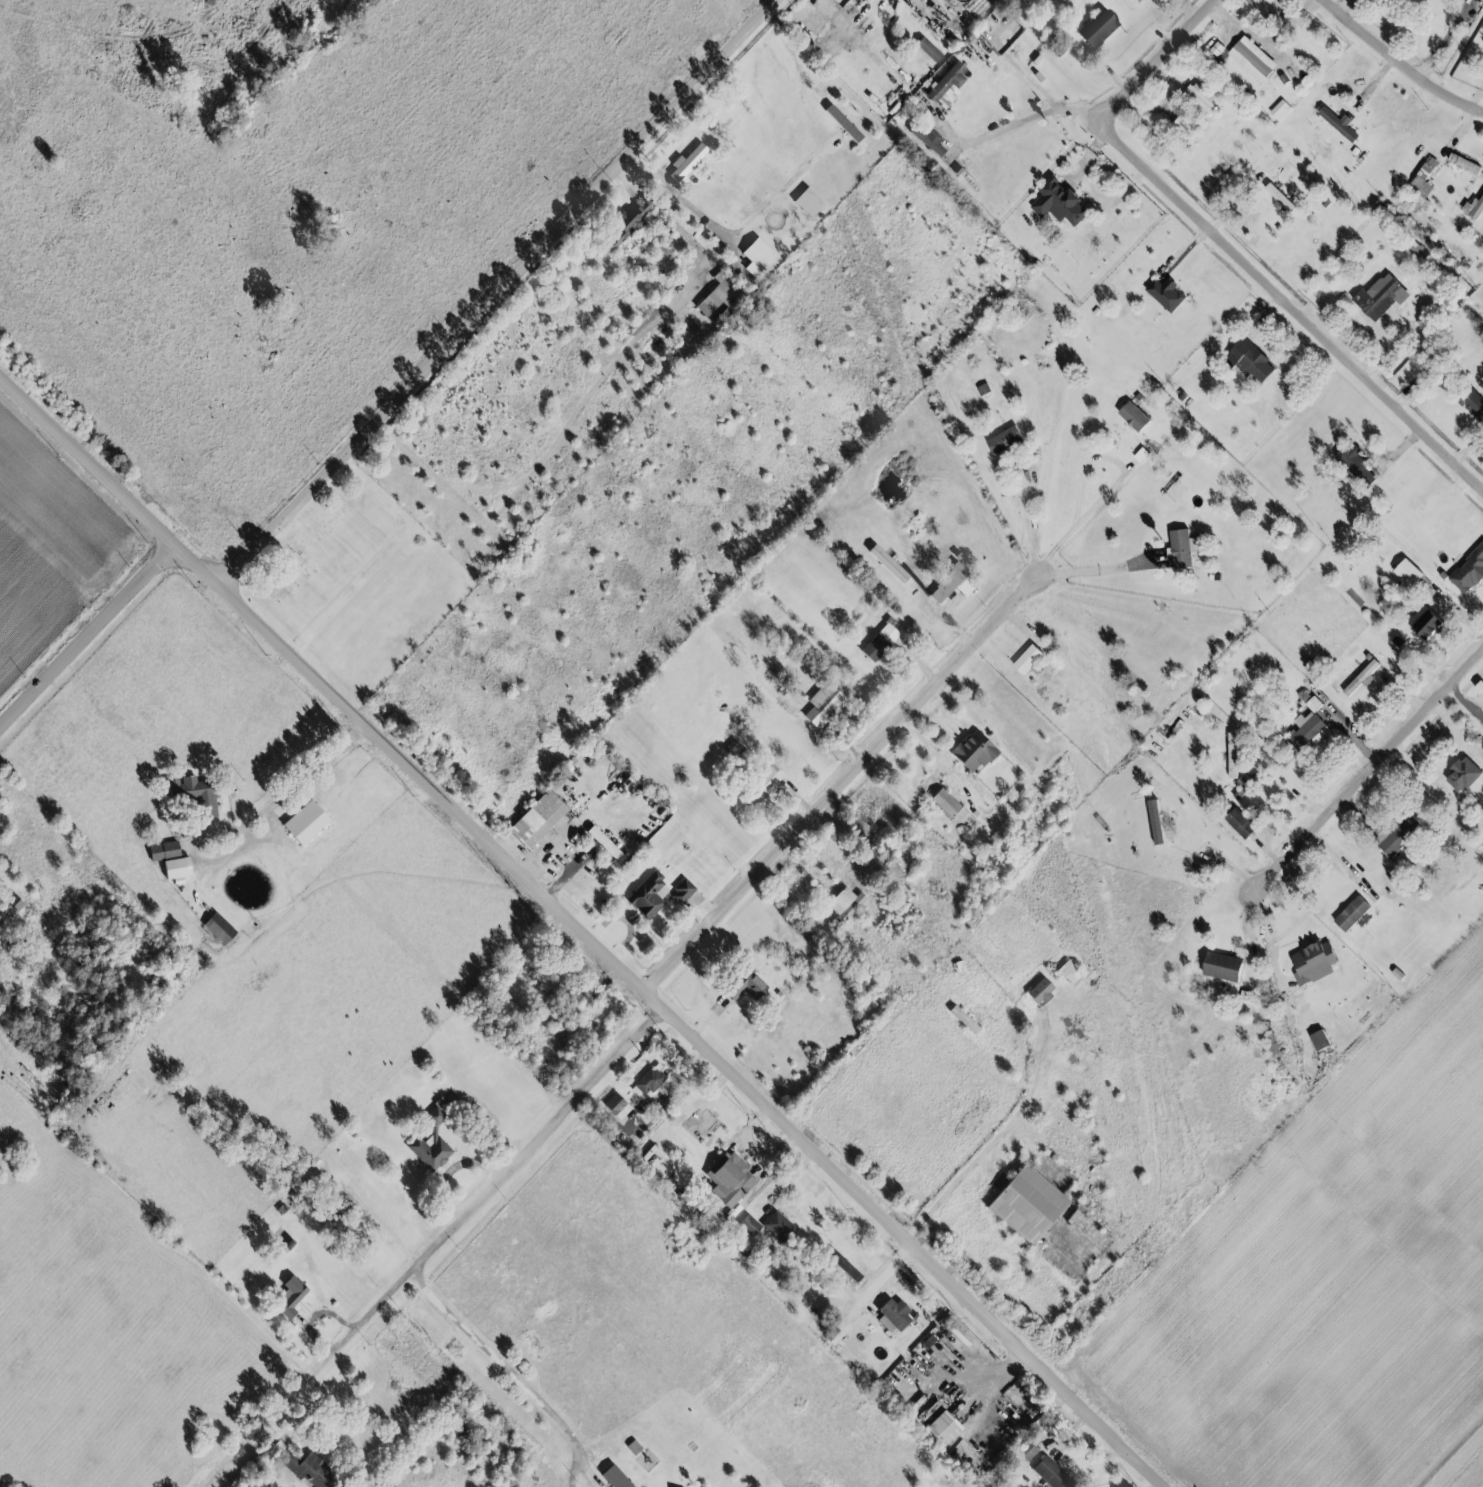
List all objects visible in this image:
building: (995, 0)
building: (825, 7)
building: (1095, 29)
road: (1448, 38)
road: (1265, 48)
building: (926, 50)
building: (1251, 59)
road: (1402, 59)
road: (1033, 83)
building: (946, 86)
building: (1198, 99)
building: (1279, 111)
building: (841, 124)
building: (1339, 124)
road: (1009, 127)
building: (1183, 127)
building: (928, 140)
building: (685, 163)
building: (1463, 164)
building: (1421, 184)
road: (677, 194)
building: (1278, 198)
building: (806, 203)
building: (1057, 204)
building: (1474, 208)
road: (1230, 252)
building: (755, 257)
building: (1164, 294)
road: (497, 296)
building: (1379, 297)
building: (1249, 362)
building: (1471, 404)
building: (1132, 416)
building: (1003, 440)
building: (1354, 464)
road: (1081, 519)
road: (1031, 524)
building: (1181, 549)
building: (884, 562)
road: (1095, 571)
building: (1469, 571)
building: (1406, 572)
park: (356, 582)
building: (945, 584)
building: (963, 588)
building: (1423, 623)
road: (86, 635)
building: (878, 642)
building: (1026, 659)
building: (1361, 678)
building: (1308, 700)
building: (821, 705)
building: (1306, 731)
building: (971, 752)
building: (1231, 756)
road: (1365, 775)
building: (1463, 775)
building: (763, 782)
road: (841, 787)
building: (192, 795)
road: (288, 796)
building: (943, 803)
building: (534, 820)
building: (1154, 822)
building: (306, 823)
building: (1238, 823)
building: (1397, 834)
road: (562, 835)
building: (605, 845)
building: (161, 851)
building: (171, 868)
building: (680, 892)
building: (646, 896)
building: (843, 906)
building: (7, 907)
building: (1350, 914)
building: (217, 929)
road: (581, 932)
building: (1311, 963)
building: (1223, 967)
building: (1068, 974)
building: (742, 986)
building: (1038, 992)
building: (1318, 1040)
building: (1271, 1044)
building: (647, 1081)
building: (615, 1107)
building: (433, 1114)
road: (995, 1140)
building: (428, 1152)
building: (729, 1180)
building: (1025, 1205)
building: (747, 1226)
building: (776, 1227)
road: (442, 1250)
building: (842, 1267)
building: (288, 1302)
building: (891, 1317)
building: (832, 1337)
building: (927, 1343)
road: (510, 1377)
road: (989, 1387)
building: (939, 1429)
building: (1026, 1454)
building: (306, 1470)
building: (1050, 1474)
building: (612, 1478)

